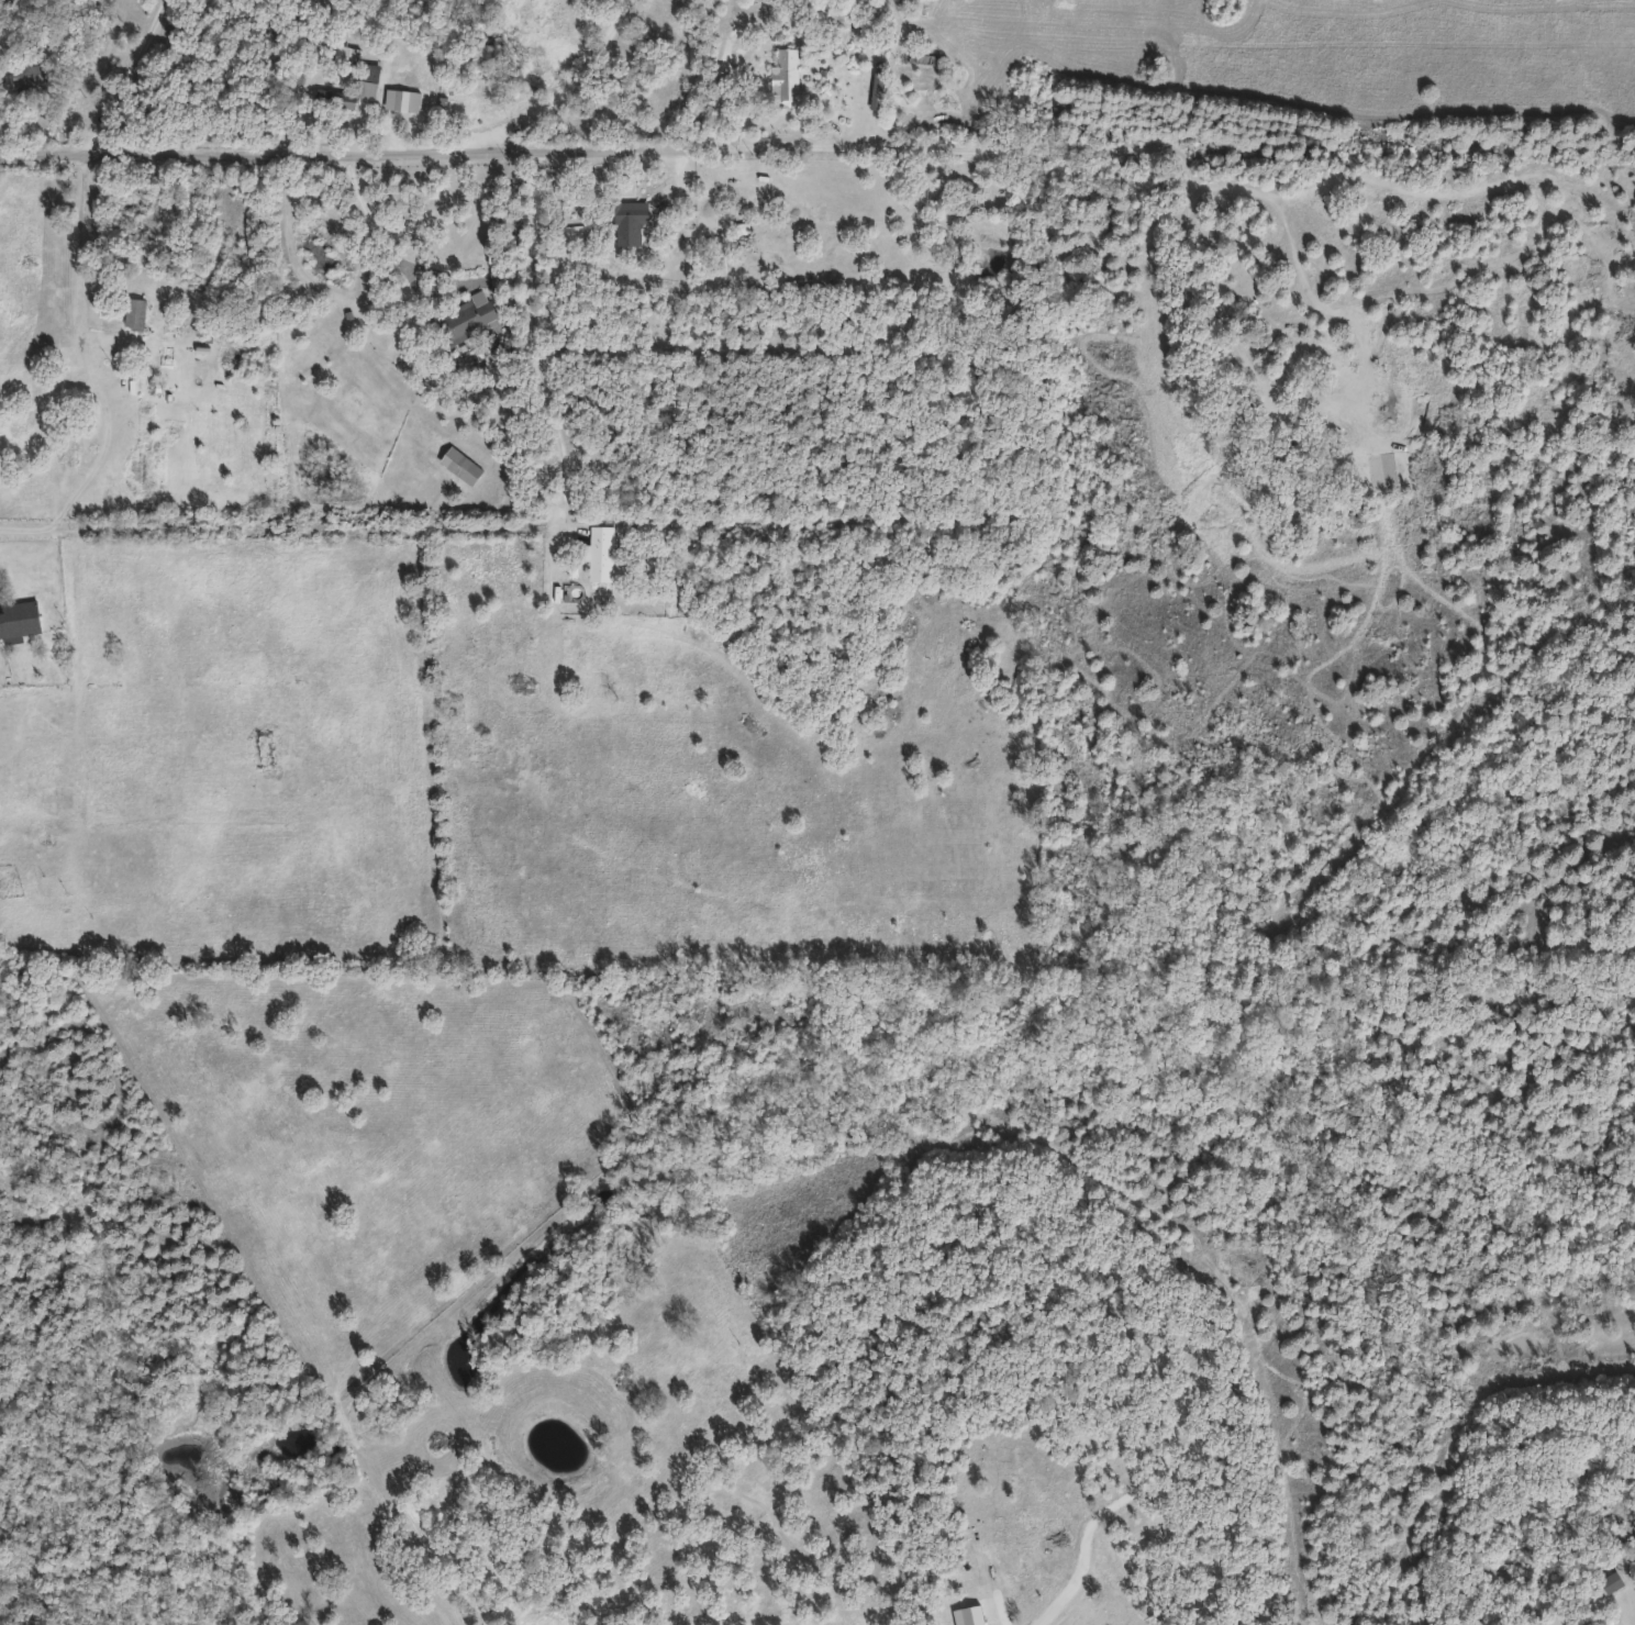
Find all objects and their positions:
building: (369, 71)
building: (31, 74)
building: (787, 75)
road: (127, 78)
road: (563, 91)
building: (336, 98)
building: (403, 99)
road: (589, 149)
building: (635, 222)
road: (374, 227)
building: (502, 279)
road: (1206, 289)
building: (135, 312)
building: (467, 319)
road: (533, 344)
road: (97, 377)
building: (16, 424)
building: (471, 472)
building: (601, 553)
building: (20, 617)
road: (1147, 1494)
building: (1613, 1580)
building: (576, 1600)

